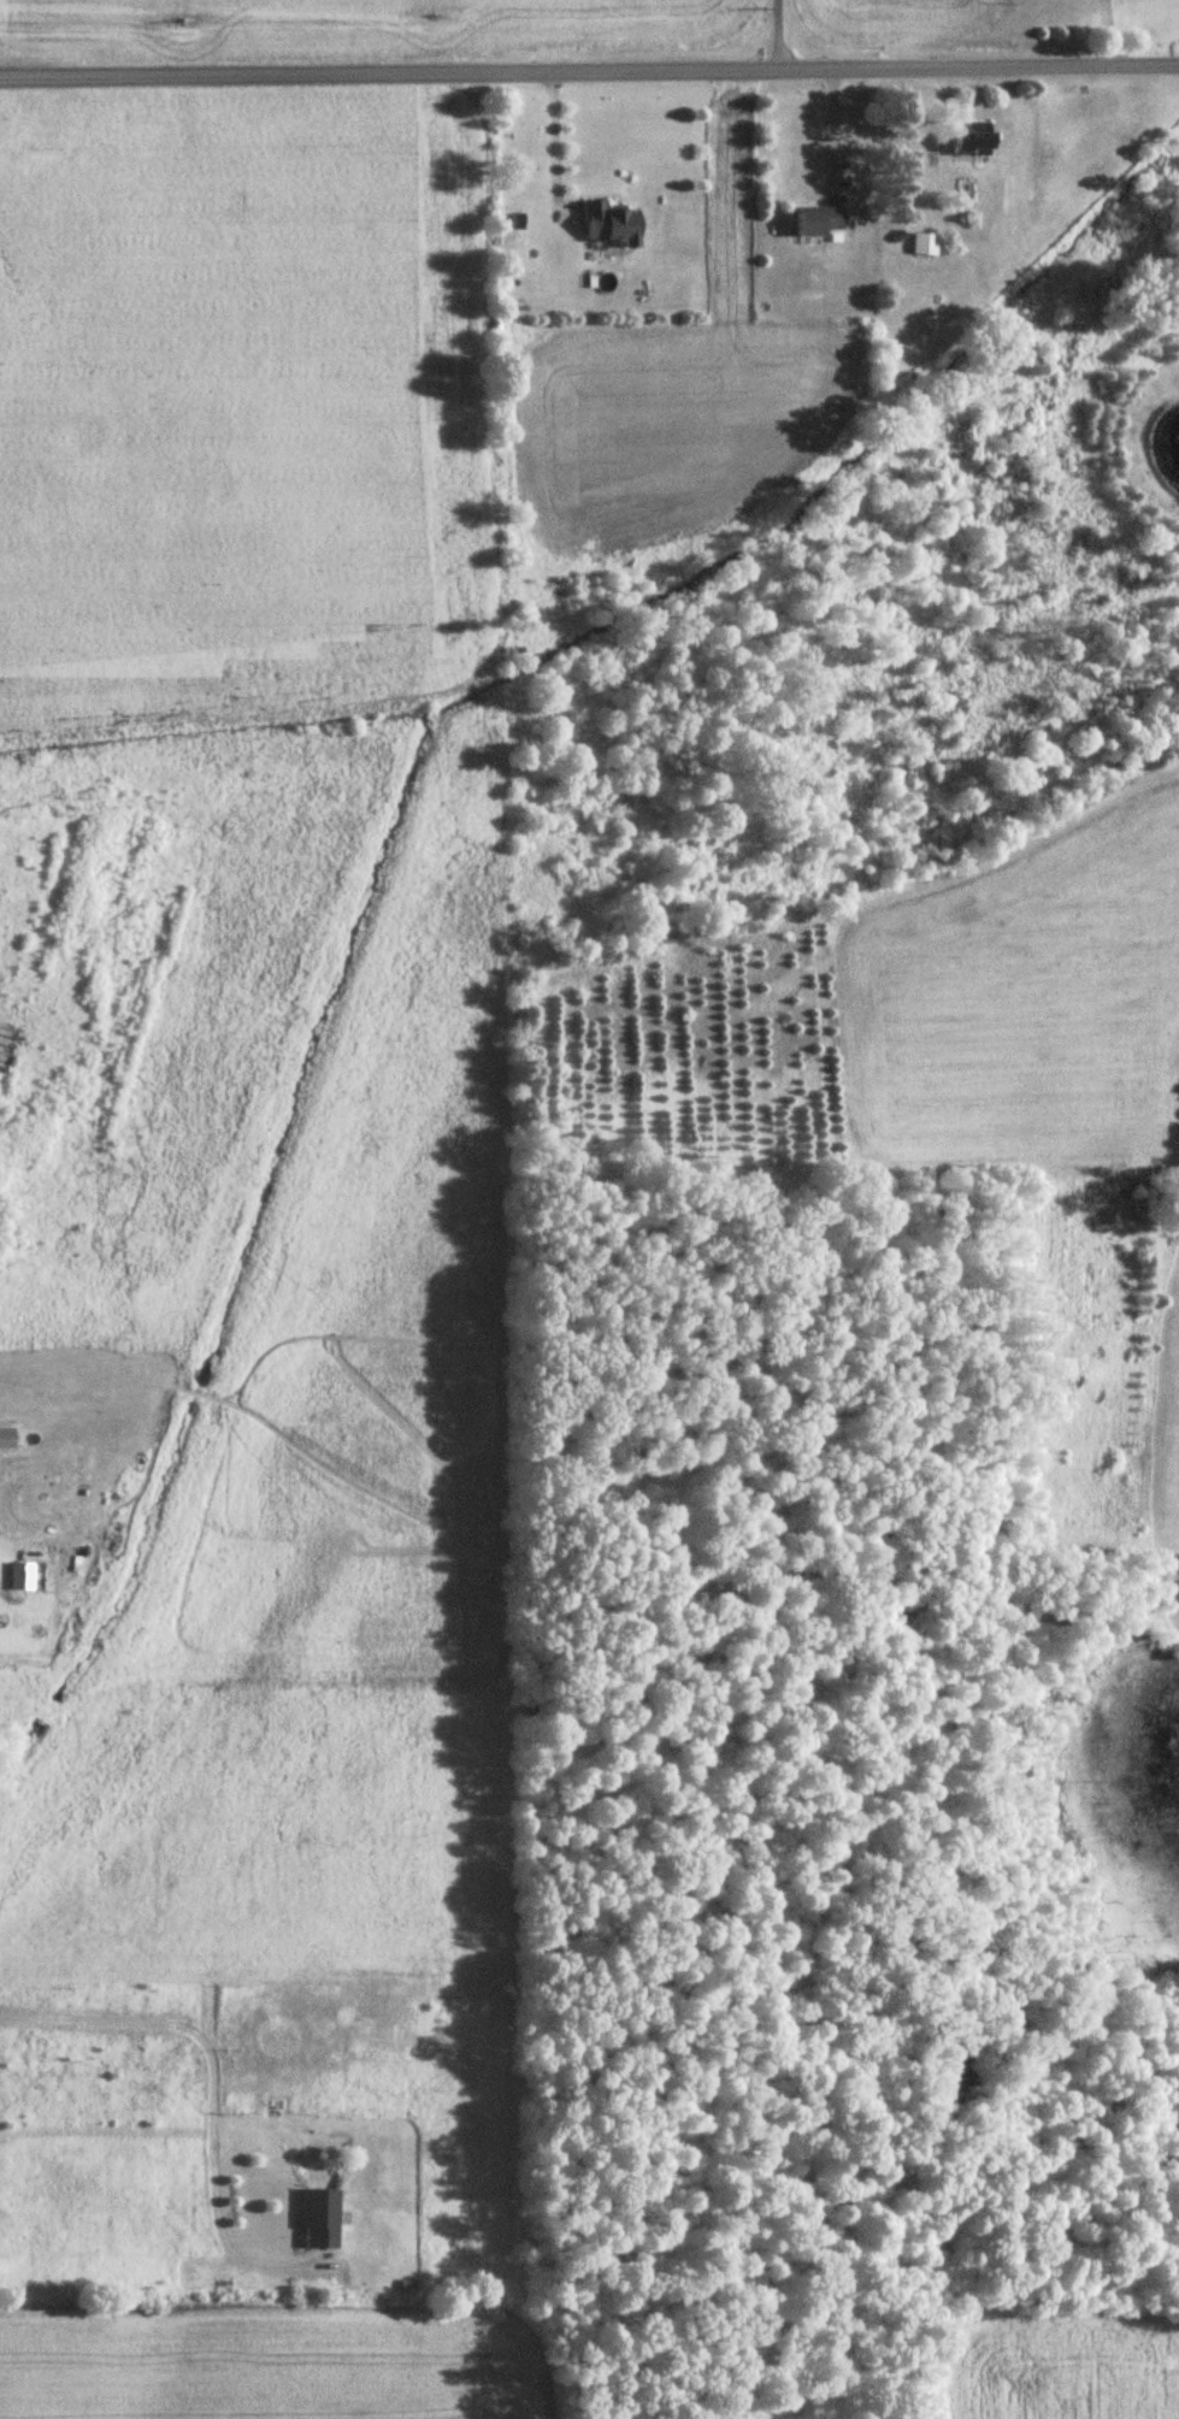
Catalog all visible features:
road: (773, 31)
road: (589, 64)
road: (830, 123)
road: (550, 138)
building: (978, 140)
building: (819, 222)
building: (612, 225)
building: (922, 244)
road: (213, 2084)
building: (322, 2219)

